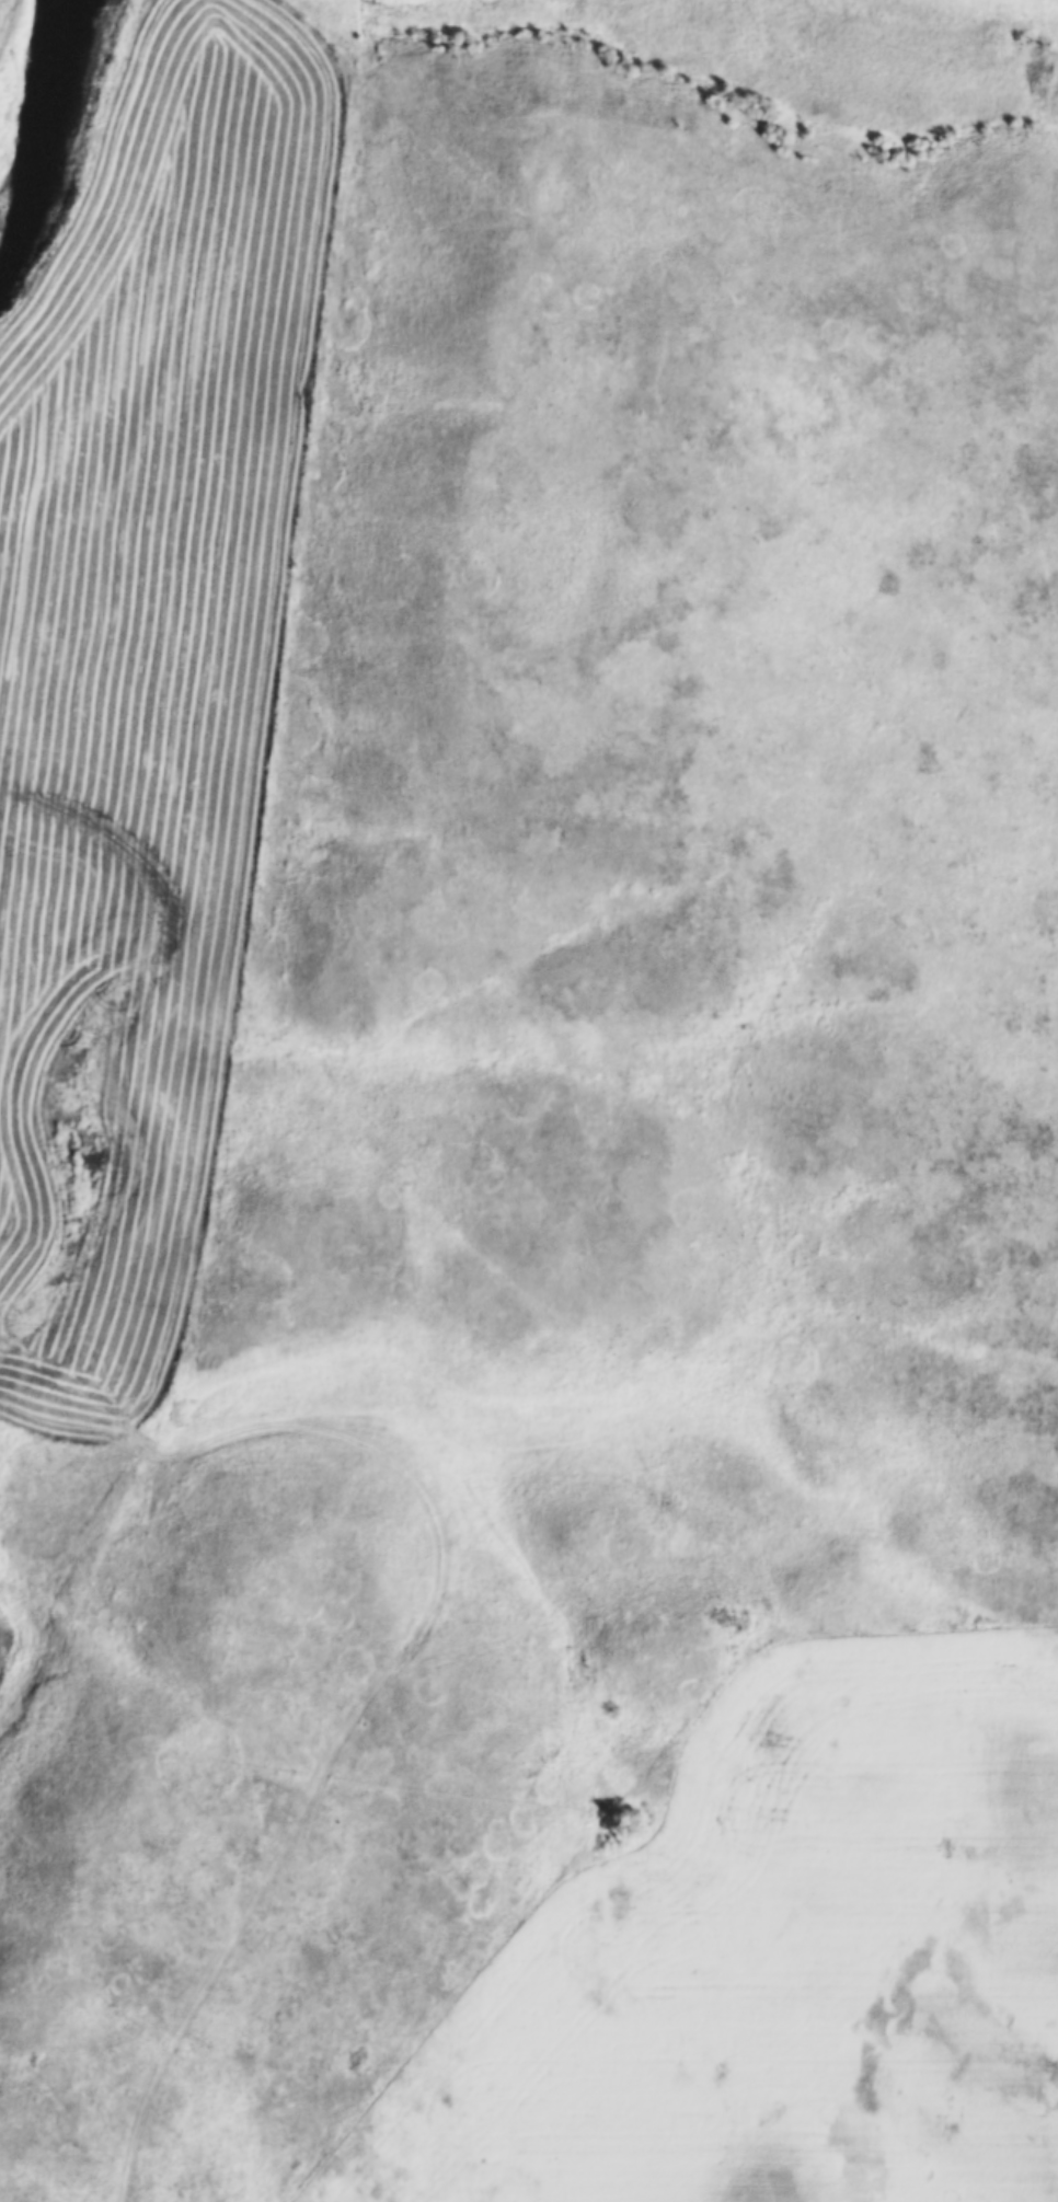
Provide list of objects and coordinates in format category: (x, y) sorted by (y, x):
river: (48, 134)

